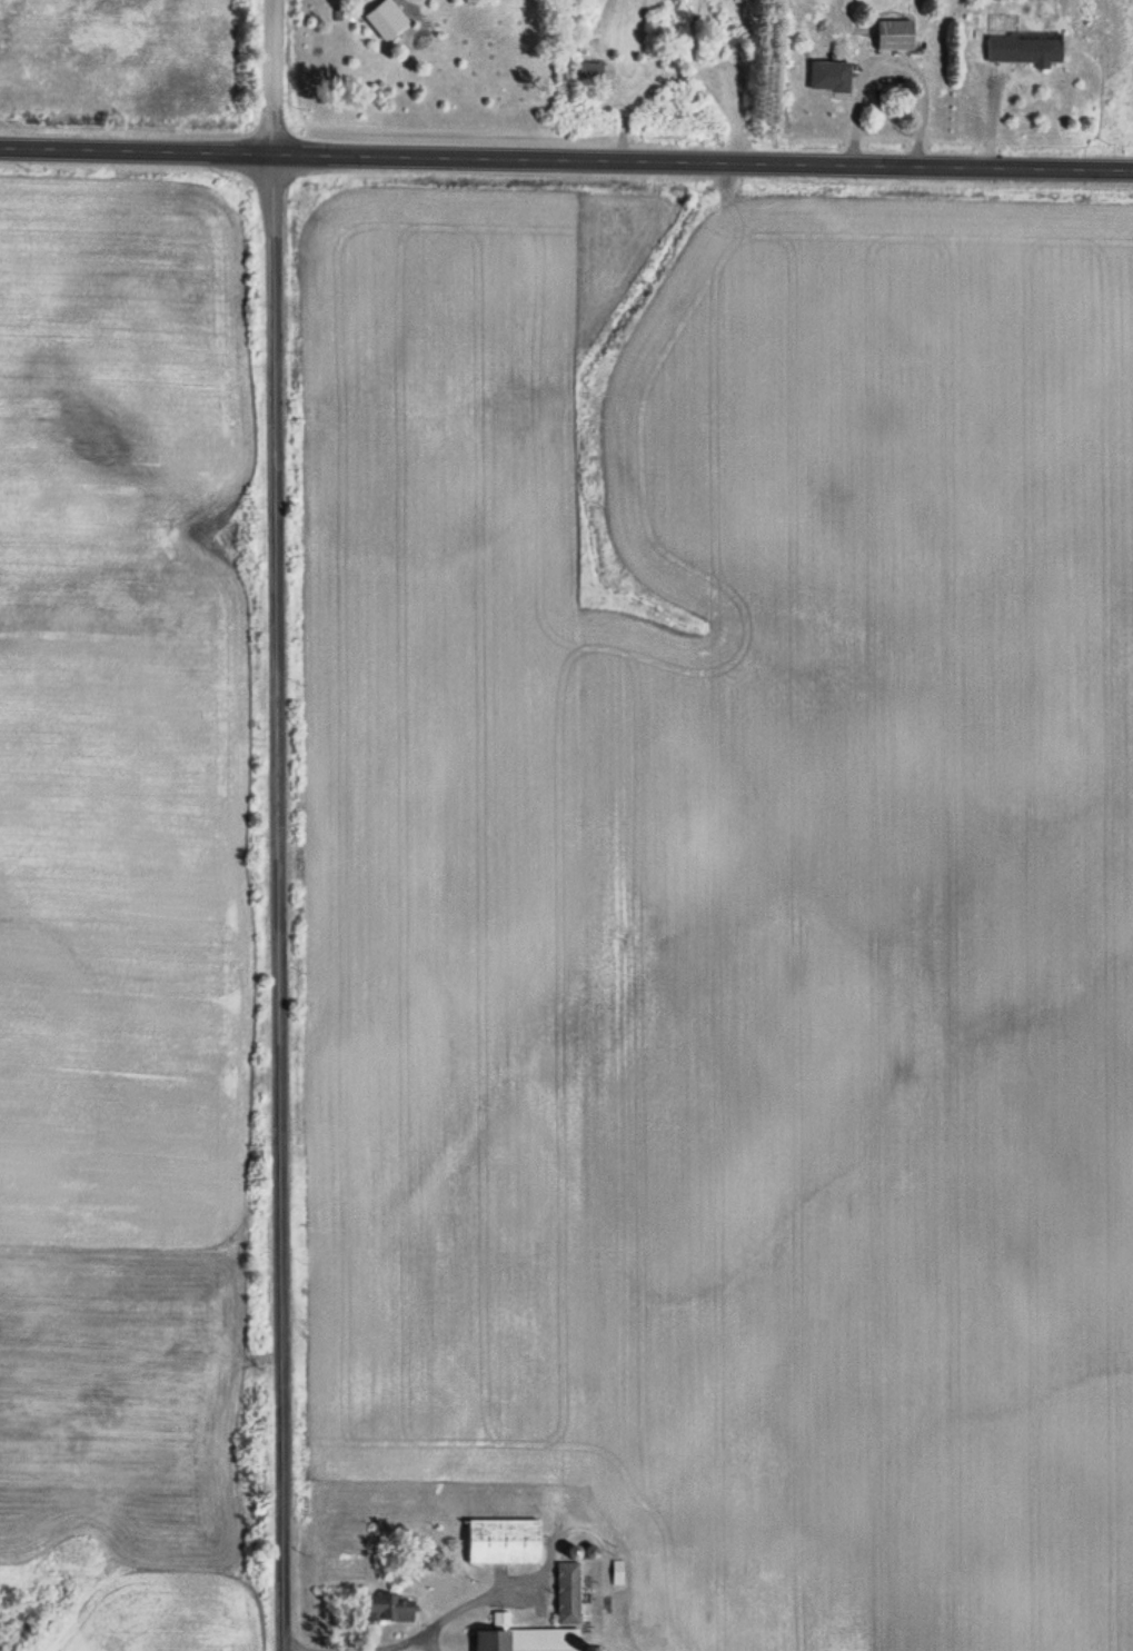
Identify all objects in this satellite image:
building: (892, 34)
building: (1022, 48)
building: (587, 72)
building: (827, 76)
road: (274, 78)
road: (137, 152)
road: (703, 156)
road: (269, 904)
building: (501, 1542)
building: (566, 1593)
building: (388, 1608)
building: (523, 1638)

